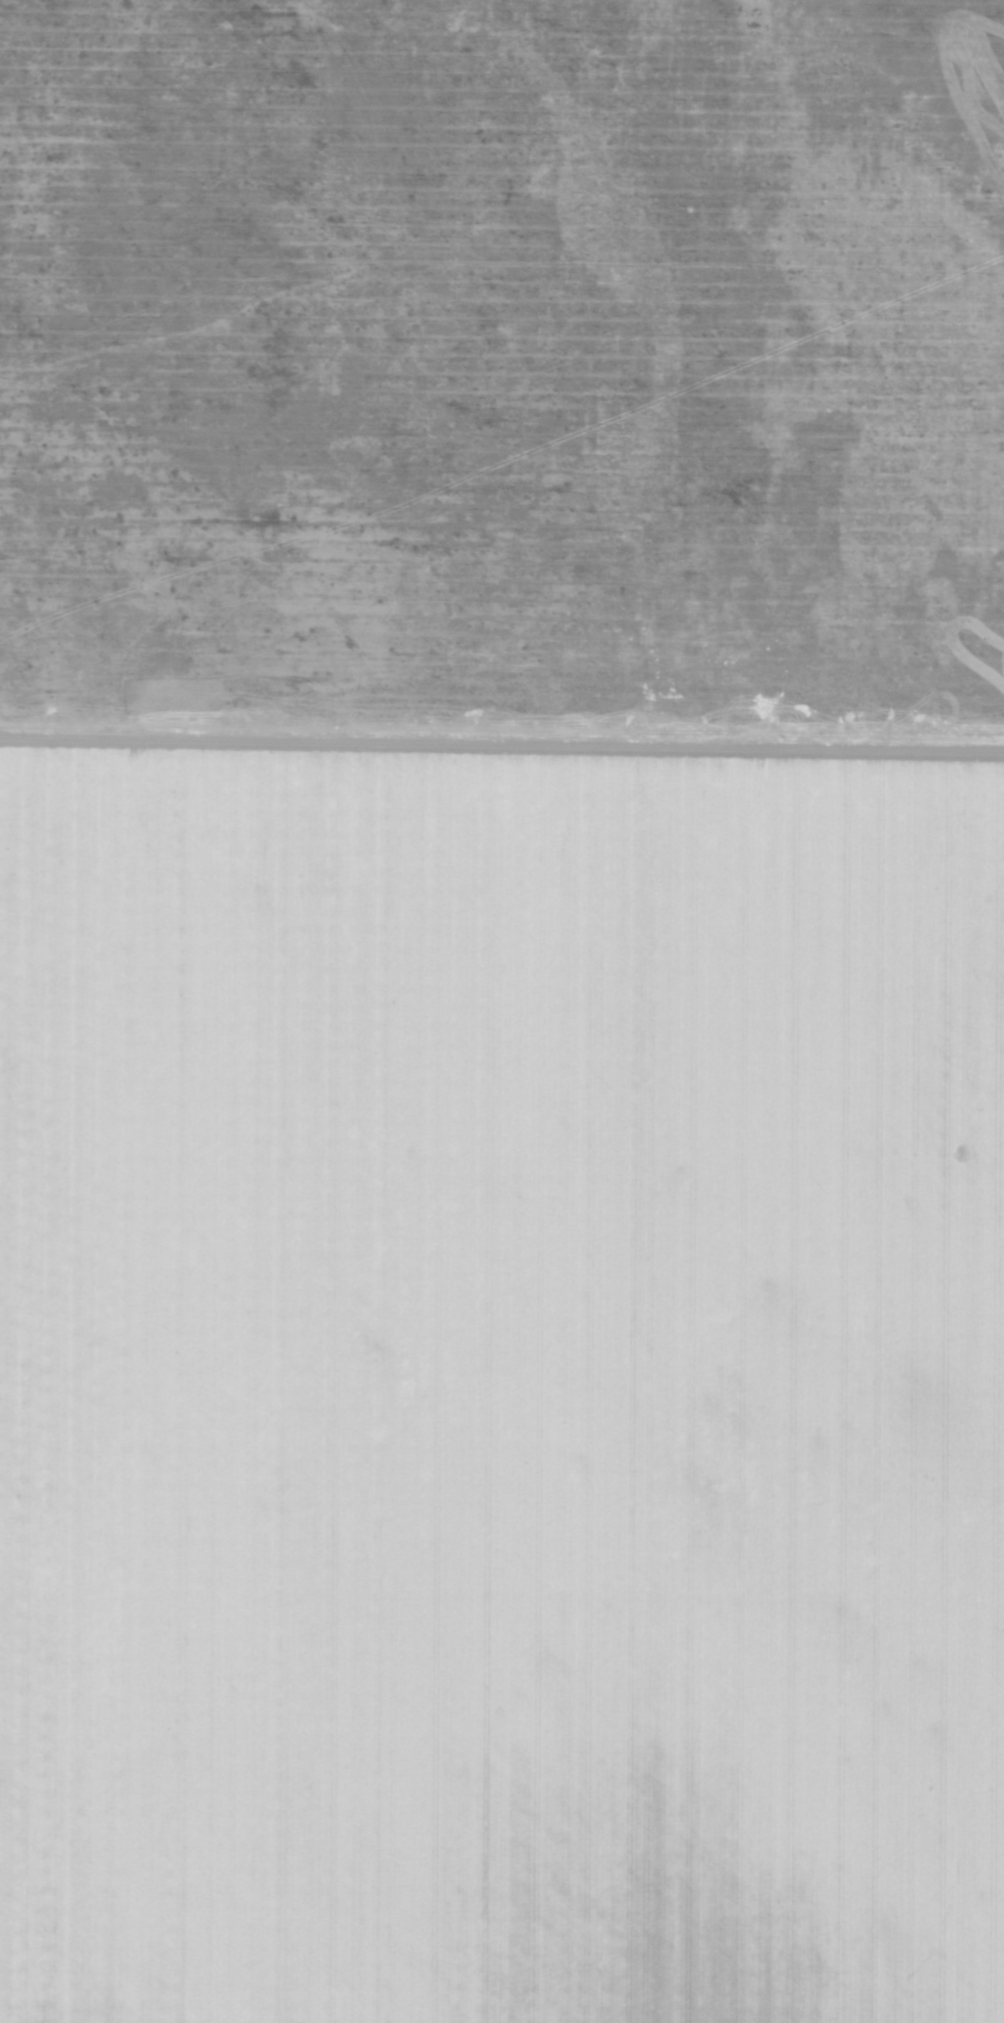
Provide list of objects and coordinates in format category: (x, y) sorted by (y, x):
airport: (877, 138)

